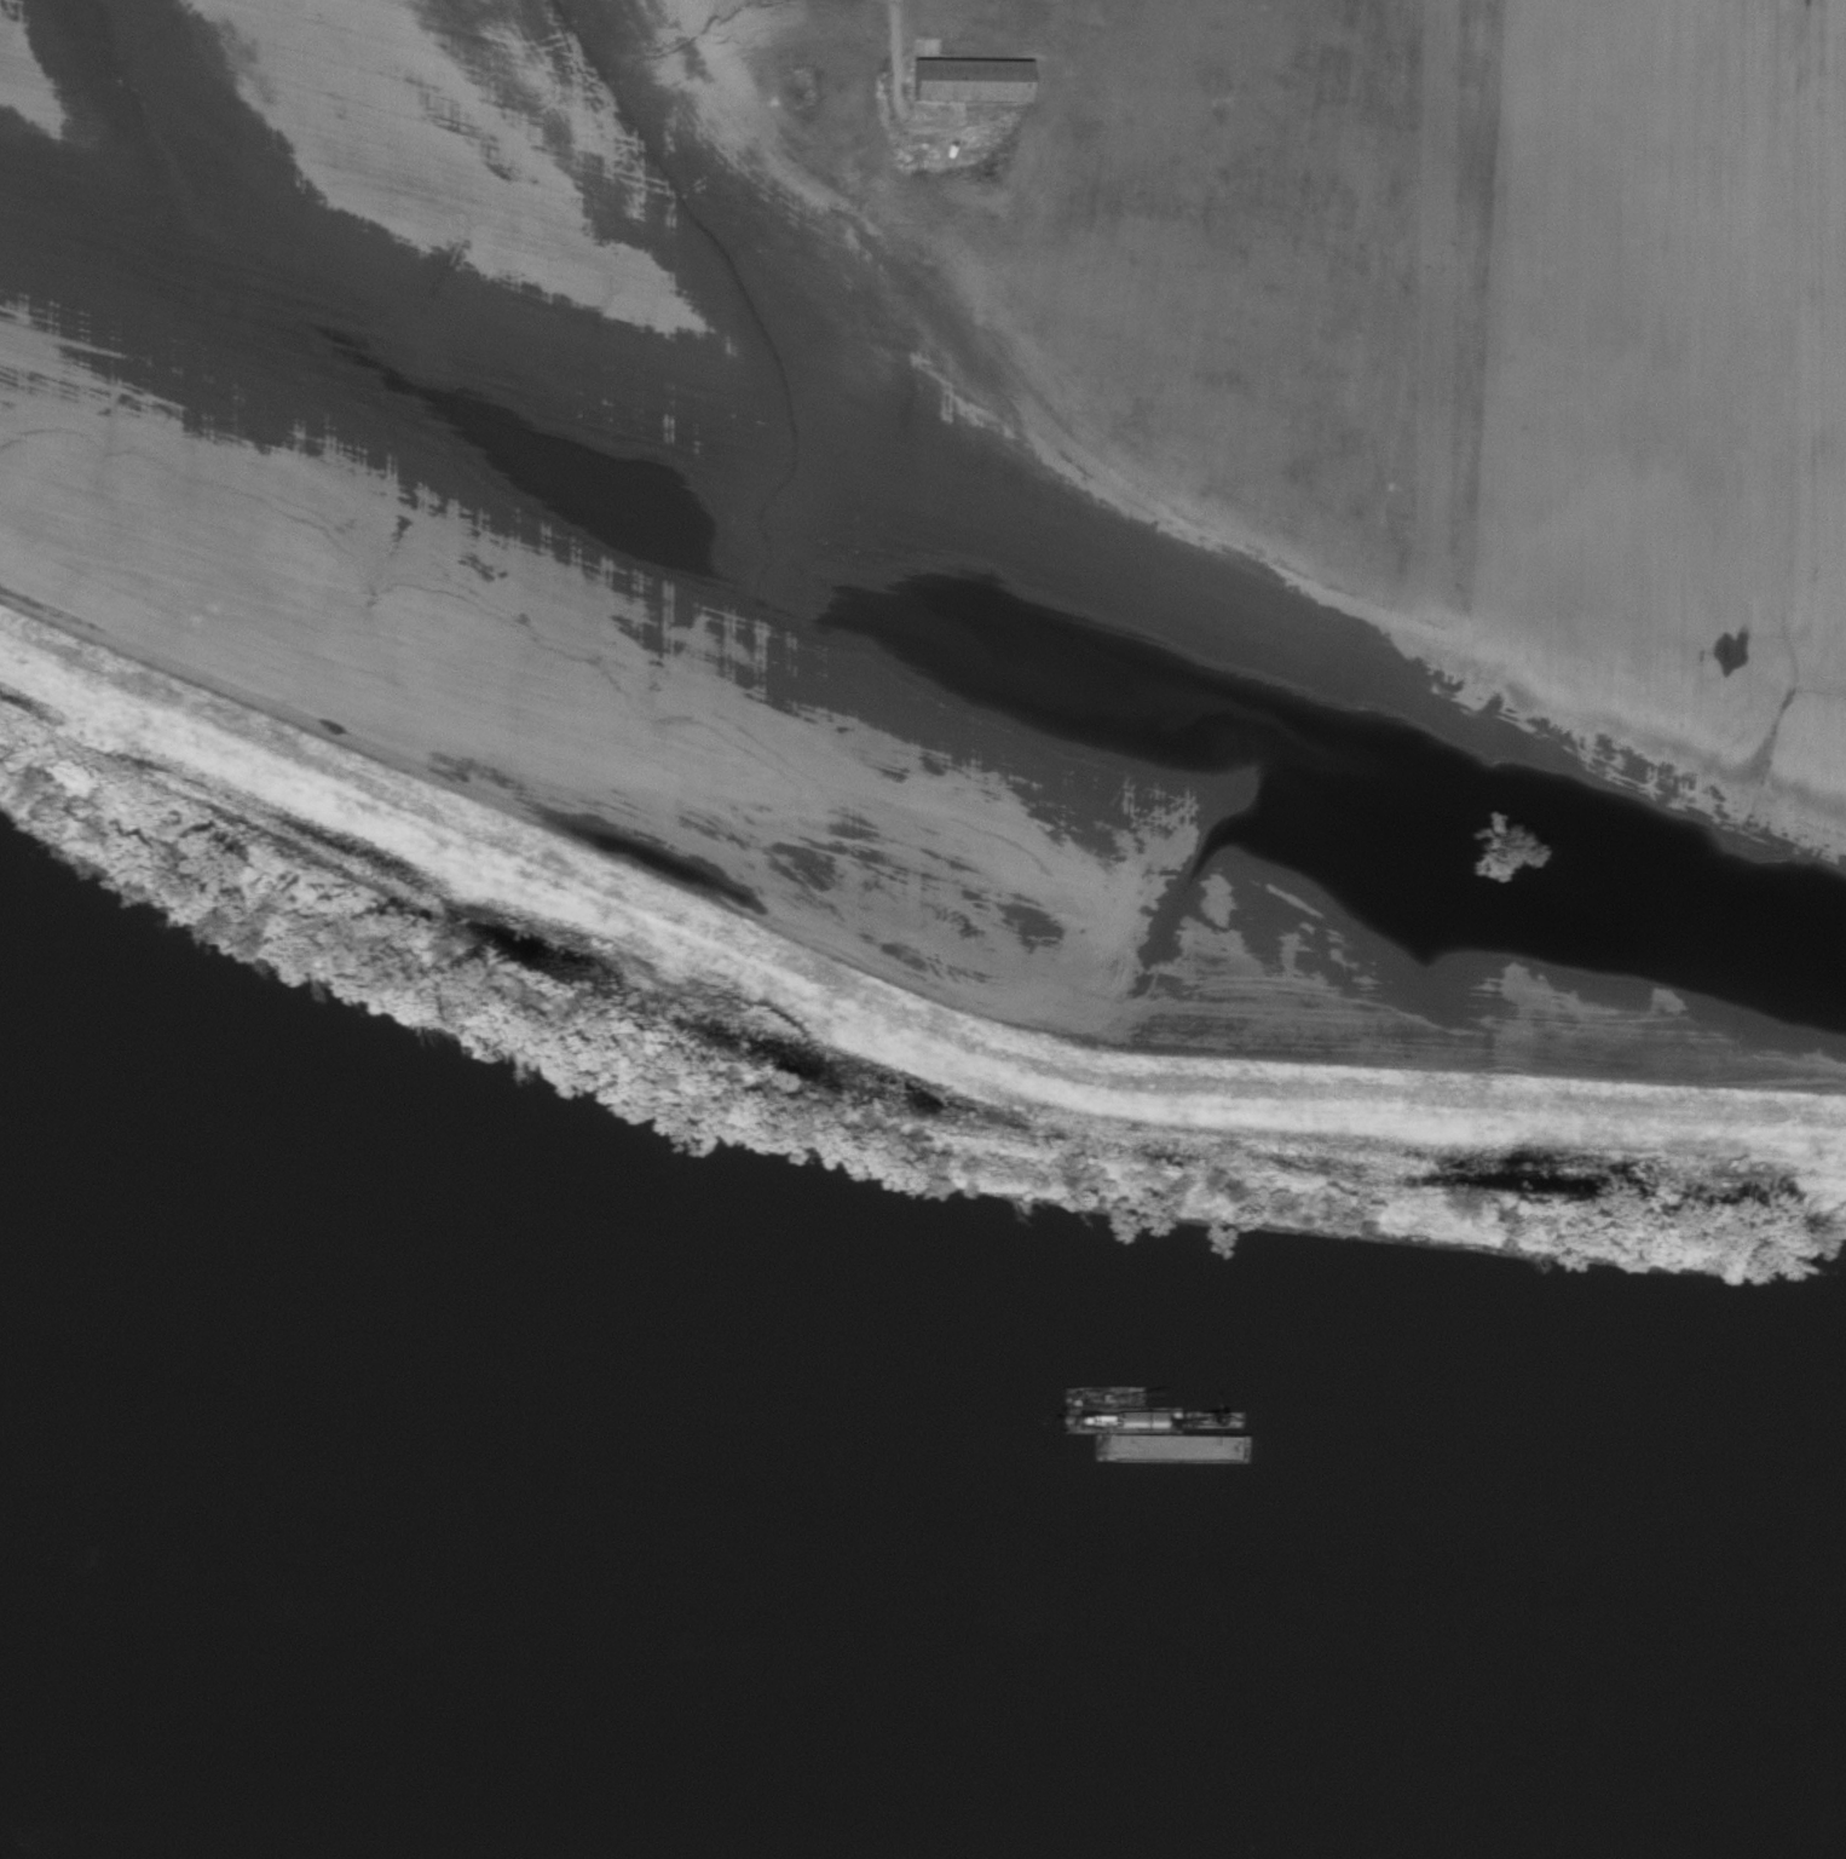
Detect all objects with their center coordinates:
road: (884, 48)
building: (969, 79)
river: (918, 1663)

